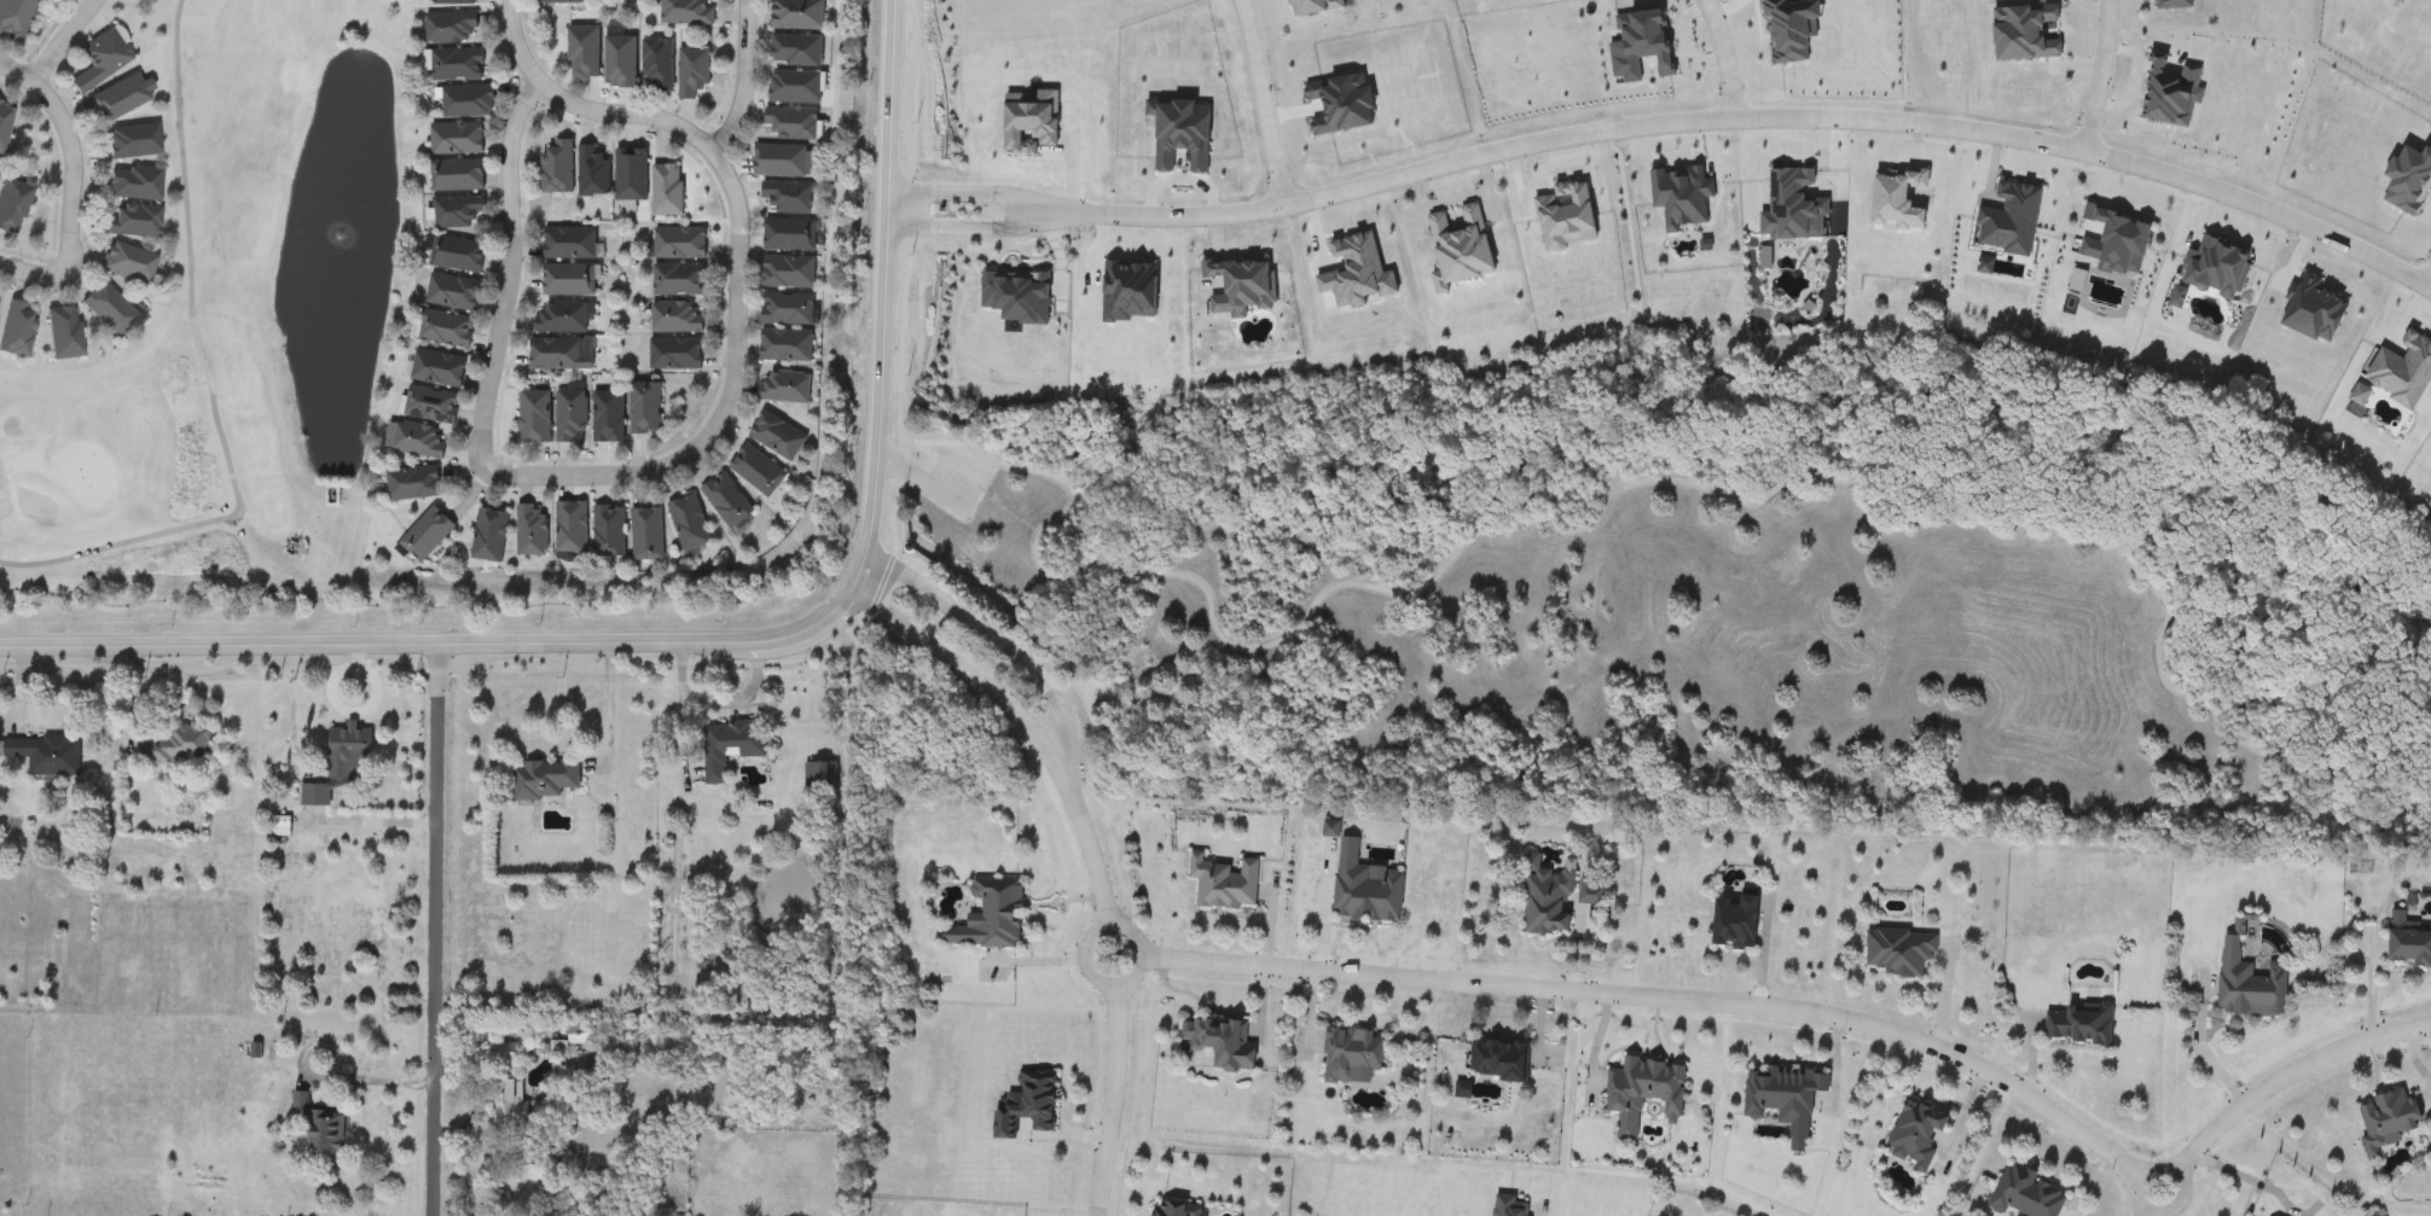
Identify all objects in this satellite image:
building: (457, 2)
building: (564, 2)
building: (690, 13)
road: (1115, 13)
building: (800, 14)
building: (16, 19)
building: (454, 29)
road: (60, 35)
building: (799, 52)
building: (587, 53)
road: (1723, 59)
building: (103, 60)
road: (17, 63)
building: (623, 64)
building: (459, 65)
building: (661, 65)
building: (696, 76)
road: (747, 76)
road: (2100, 76)
road: (2133, 85)
building: (797, 88)
building: (121, 99)
building: (471, 101)
road: (1264, 103)
building: (788, 122)
road: (1751, 122)
building: (6, 127)
building: (459, 140)
building: (135, 142)
building: (782, 161)
building: (553, 167)
building: (588, 171)
building: (0, 175)
building: (627, 175)
building: (460, 176)
building: (138, 186)
building: (662, 188)
road: (971, 192)
road: (68, 196)
building: (785, 196)
building: (13, 206)
building: (462, 214)
building: (137, 223)
road: (969, 228)
building: (787, 234)
building: (565, 243)
building: (674, 243)
building: (460, 256)
building: (130, 264)
road: (736, 269)
building: (784, 270)
road: (507, 275)
road: (2429, 279)
building: (565, 280)
building: (673, 280)
building: (456, 293)
building: (783, 308)
building: (111, 312)
building: (557, 316)
building: (673, 318)
building: (19, 330)
building: (448, 331)
building: (65, 334)
park: (240, 338)
building: (782, 345)
building: (552, 354)
building: (671, 354)
building: (440, 370)
road: (210, 379)
building: (779, 386)
building: (433, 406)
building: (640, 407)
building: (568, 413)
building: (530, 415)
building: (604, 415)
building: (774, 435)
building: (419, 441)
building: (754, 470)
park: (86, 471)
building: (416, 484)
building: (724, 499)
building: (686, 522)
building: (568, 526)
building: (527, 530)
building: (605, 530)
building: (644, 533)
building: (429, 534)
building: (491, 535)
road: (726, 630)
road: (984, 633)
road: (956, 661)
road: (611, 698)
building: (181, 745)
building: (727, 745)
building: (350, 751)
building: (47, 755)
building: (814, 776)
building: (546, 780)
building: (318, 796)
road: (373, 820)
road: (1084, 836)
building: (1222, 883)
building: (1362, 886)
building: (1588, 892)
building: (1544, 896)
road: (1323, 906)
building: (986, 917)
building: (1731, 921)
road: (434, 925)
building: (2407, 943)
building: (1896, 952)
road: (1119, 982)
building: (2246, 984)
road: (1660, 1000)
building: (2077, 1023)
building: (581, 1036)
building: (1218, 1043)
building: (1347, 1055)
building: (1496, 1060)
road: (2290, 1072)
road: (366, 1080)
building: (510, 1084)
building: (1641, 1088)
building: (1781, 1099)
road: (1109, 1100)
building: (1022, 1104)
building: (2384, 1119)
building: (324, 1127)
building: (1913, 1133)
road: (2238, 1185)
building: (2021, 1193)
road: (2177, 1202)
building: (1507, 1205)
road: (1541, 1208)
building: (1171, 1209)
road: (2146, 1212)

